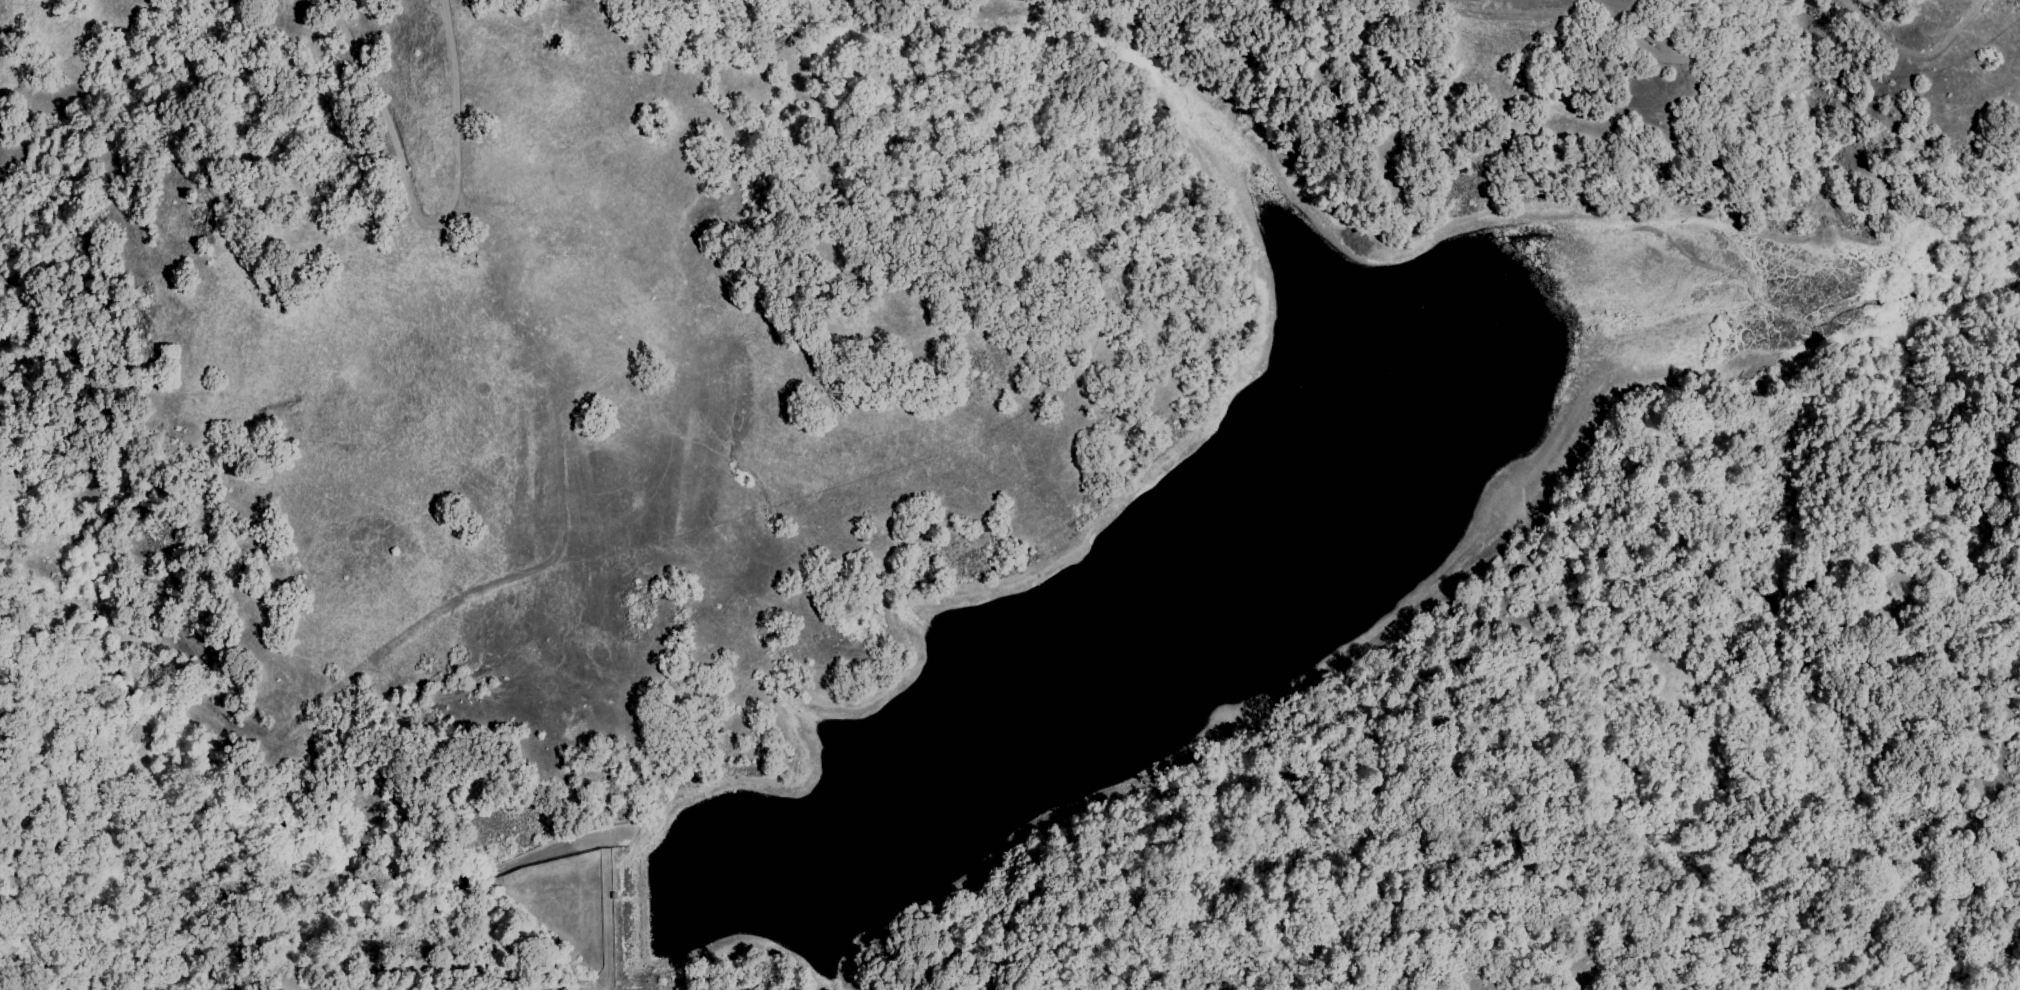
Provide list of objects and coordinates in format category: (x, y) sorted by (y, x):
road: (424, 220)
dam: (631, 913)

